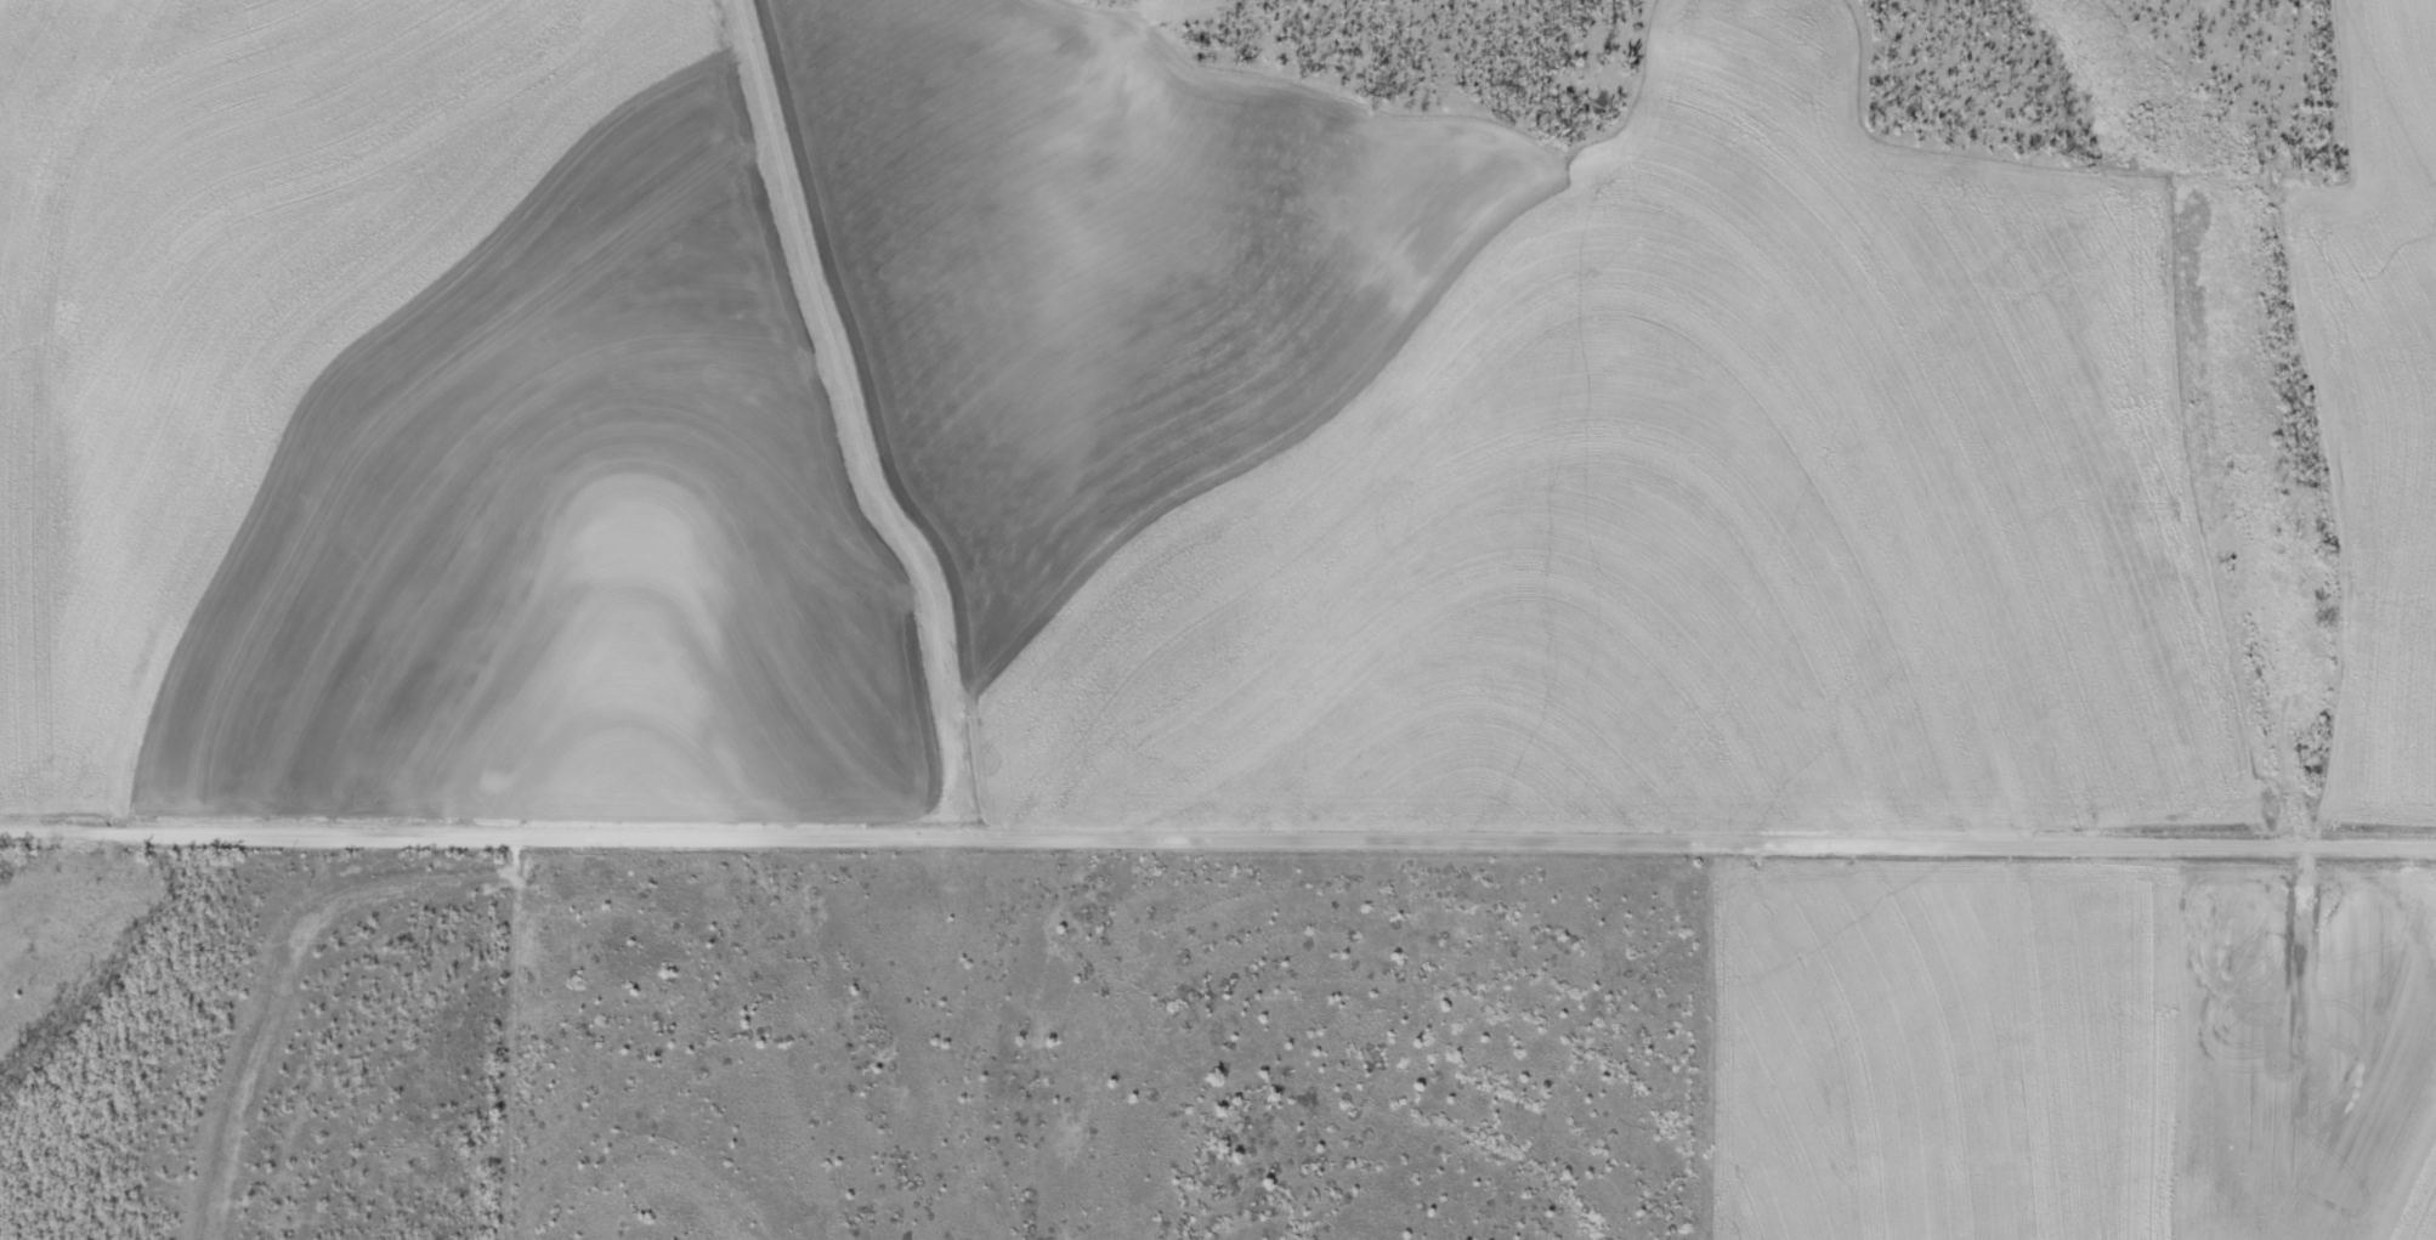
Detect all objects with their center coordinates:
road: (2315, 418)
road: (1217, 848)
road: (489, 1042)

